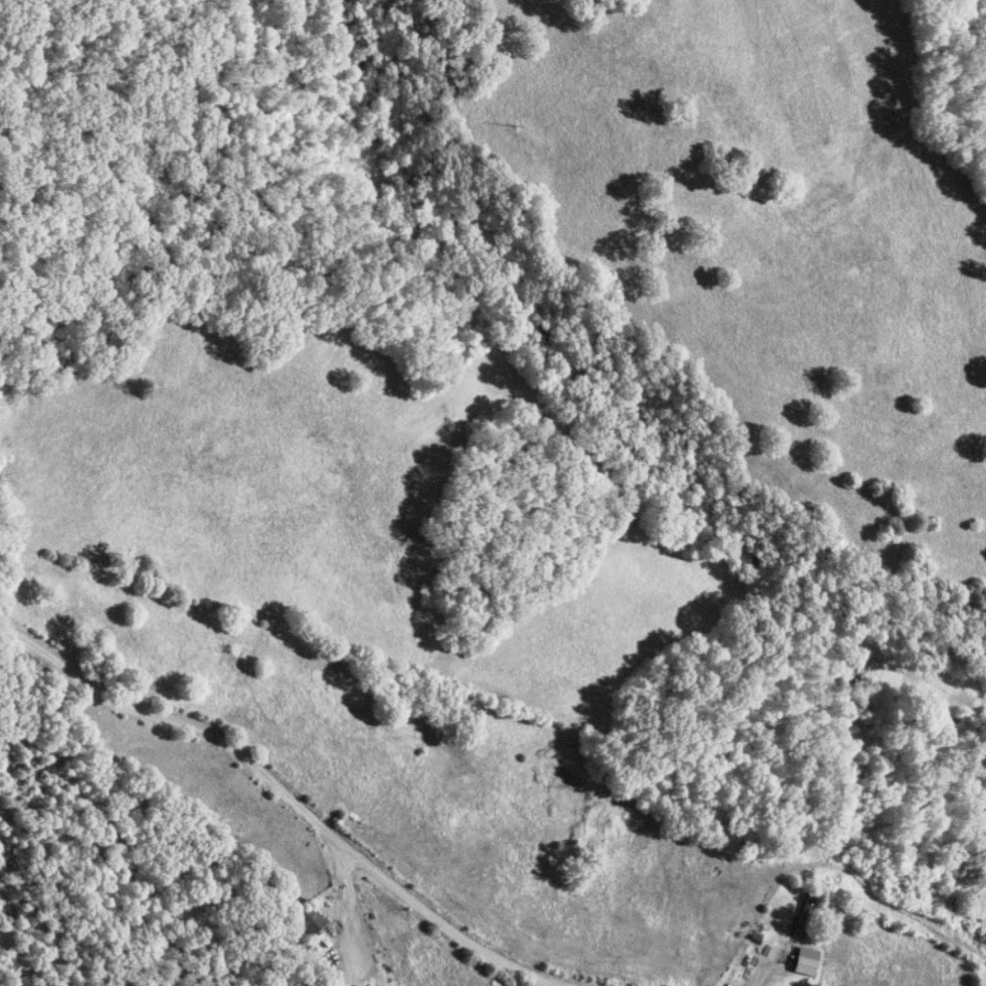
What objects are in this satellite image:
road: (289, 794)
building: (802, 962)

